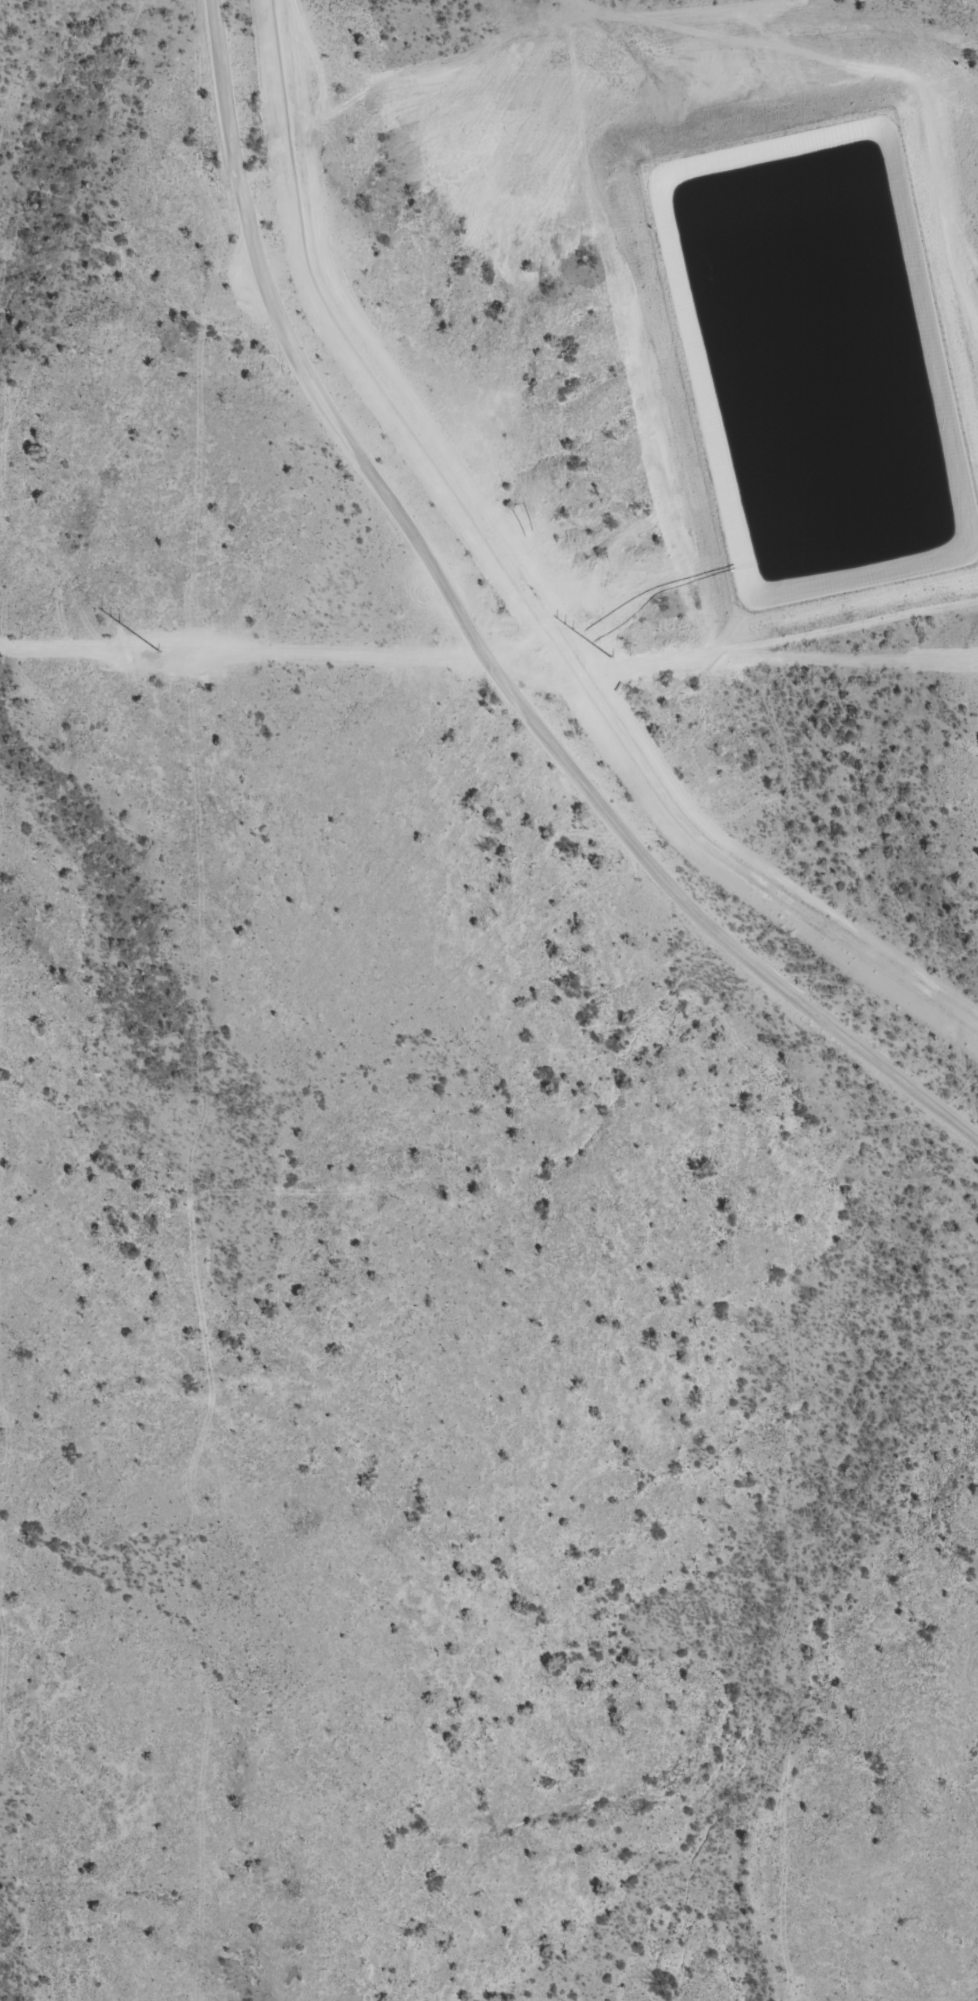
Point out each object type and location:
power tower: (199, 654)
power tower: (545, 659)
road: (752, 801)

